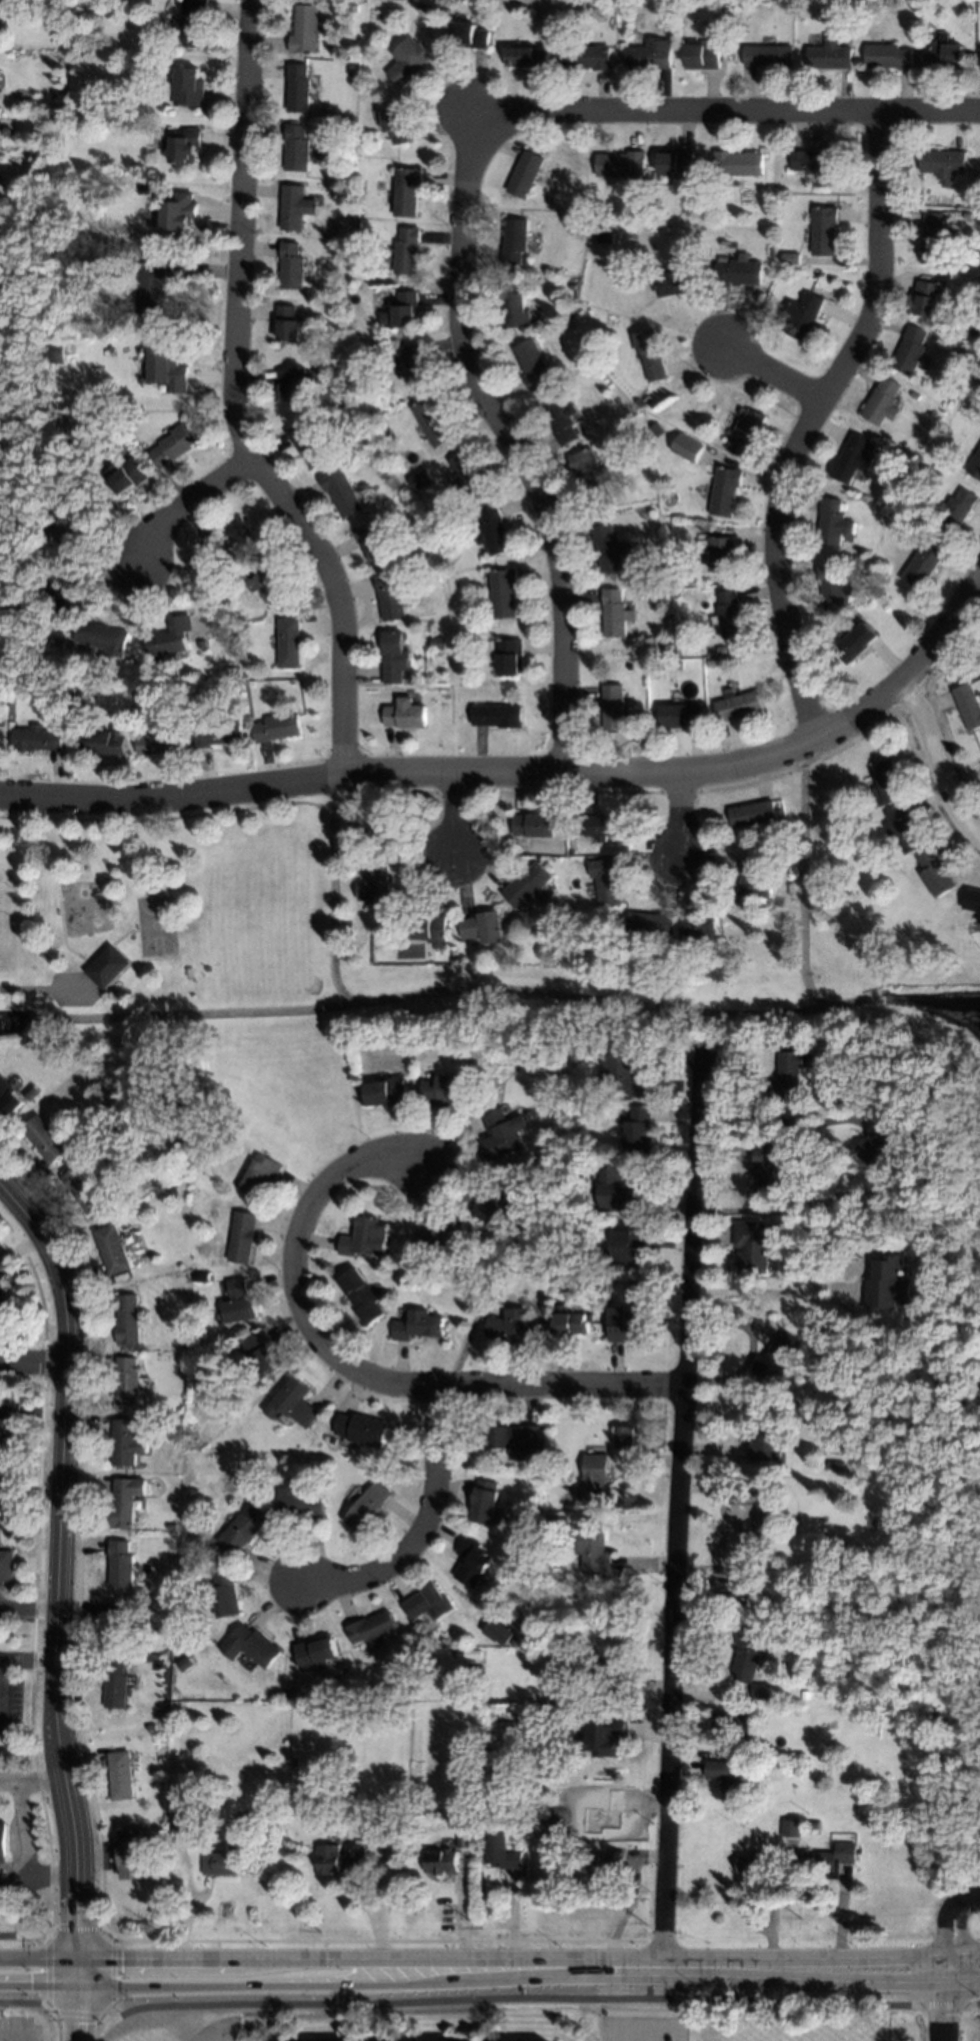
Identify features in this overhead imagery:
building: (423, 4)
building: (972, 5)
building: (354, 8)
building: (547, 13)
building: (194, 22)
building: (306, 31)
building: (471, 36)
building: (946, 53)
building: (651, 55)
building: (701, 55)
building: (829, 56)
building: (528, 57)
building: (767, 57)
building: (888, 57)
building: (586, 58)
building: (410, 59)
building: (979, 68)
building: (351, 69)
building: (190, 88)
building: (298, 89)
building: (87, 99)
road: (731, 112)
road: (474, 118)
building: (85, 123)
building: (398, 126)
building: (186, 147)
building: (297, 150)
building: (813, 162)
building: (678, 164)
building: (738, 164)
building: (943, 164)
building: (623, 168)
building: (526, 175)
building: (407, 191)
building: (549, 200)
building: (295, 208)
building: (179, 211)
building: (967, 216)
building: (356, 225)
building: (824, 232)
building: (605, 238)
building: (932, 238)
building: (515, 242)
building: (408, 252)
building: (68, 258)
building: (790, 259)
building: (292, 268)
building: (737, 272)
building: (676, 283)
building: (571, 286)
building: (152, 289)
building: (928, 299)
building: (402, 310)
building: (514, 312)
building: (802, 316)
building: (288, 324)
building: (53, 350)
building: (910, 350)
building: (650, 355)
building: (533, 366)
building: (416, 367)
building: (167, 368)
road: (772, 374)
building: (292, 385)
building: (914, 396)
road: (237, 403)
building: (882, 404)
building: (560, 419)
building: (975, 419)
building: (433, 421)
road: (809, 422)
building: (655, 429)
building: (745, 434)
building: (642, 437)
building: (308, 446)
road: (516, 446)
building: (174, 447)
building: (687, 448)
building: (853, 459)
building: (975, 465)
building: (590, 474)
building: (127, 475)
building: (418, 476)
building: (470, 478)
building: (724, 491)
building: (341, 492)
road: (186, 503)
building: (388, 505)
building: (6, 512)
building: (956, 512)
building: (833, 524)
building: (65, 528)
building: (446, 528)
building: (493, 531)
building: (227, 537)
building: (29, 539)
building: (374, 541)
building: (609, 548)
building: (719, 553)
building: (856, 557)
building: (922, 566)
building: (405, 575)
building: (266, 579)
building: (218, 585)
building: (831, 591)
building: (61, 592)
building: (503, 593)
building: (390, 597)
building: (886, 607)
building: (615, 613)
building: (728, 615)
building: (461, 635)
building: (235, 636)
building: (2, 638)
building: (102, 638)
building: (169, 640)
building: (288, 642)
building: (202, 643)
building: (437, 643)
building: (855, 643)
building: (721, 650)
building: (506, 655)
building: (394, 657)
building: (707, 660)
building: (677, 664)
building: (74, 694)
building: (968, 705)
building: (736, 706)
building: (613, 707)
building: (405, 715)
building: (496, 716)
building: (679, 716)
building: (1, 719)
building: (276, 727)
building: (217, 733)
building: (36, 739)
building: (160, 741)
building: (105, 742)
road: (936, 763)
road: (527, 774)
building: (887, 785)
road: (678, 815)
road: (452, 816)
building: (752, 816)
building: (380, 825)
building: (533, 826)
building: (605, 826)
building: (903, 831)
building: (570, 851)
building: (935, 875)
building: (606, 881)
building: (377, 884)
building: (527, 885)
building: (752, 885)
building: (971, 900)
building: (650, 924)
building: (430, 928)
building: (482, 928)
building: (700, 928)
building: (107, 965)
park: (187, 976)
building: (836, 1041)
building: (569, 1042)
building: (624, 1072)
building: (788, 1074)
building: (447, 1091)
building: (387, 1092)
building: (9, 1096)
road: (777, 1122)
building: (637, 1130)
building: (502, 1133)
building: (45, 1138)
building: (880, 1147)
building: (767, 1169)
building: (260, 1177)
building: (84, 1190)
building: (615, 1191)
building: (495, 1204)
building: (242, 1237)
building: (364, 1238)
building: (444, 1238)
building: (628, 1245)
building: (751, 1248)
building: (112, 1250)
building: (1, 1266)
road: (293, 1280)
building: (887, 1284)
road: (772, 1290)
building: (361, 1297)
building: (238, 1303)
building: (6, 1307)
building: (128, 1321)
building: (569, 1324)
building: (622, 1324)
building: (417, 1325)
building: (508, 1325)
road: (751, 1350)
building: (261, 1352)
building: (775, 1358)
building: (195, 1362)
road: (36, 1364)
building: (128, 1381)
road: (559, 1387)
building: (293, 1404)
building: (9, 1421)
building: (361, 1429)
building: (624, 1435)
building: (765, 1437)
building: (512, 1438)
building: (555, 1440)
building: (127, 1444)
building: (833, 1464)
building: (592, 1479)
building: (126, 1502)
building: (299, 1502)
building: (483, 1504)
building: (366, 1506)
road: (677, 1511)
building: (750, 1518)
building: (170, 1527)
building: (242, 1530)
road: (424, 1530)
building: (593, 1550)
building: (471, 1562)
building: (188, 1563)
building: (7, 1565)
building: (122, 1565)
building: (740, 1578)
building: (225, 1595)
road: (63, 1598)
road: (2, 1604)
building: (427, 1604)
road: (31, 1606)
building: (520, 1620)
building: (118, 1627)
building: (370, 1629)
building: (497, 1632)
building: (567, 1639)
building: (250, 1645)
building: (747, 1651)
building: (315, 1652)
road: (19, 1658)
building: (186, 1663)
building: (610, 1675)
building: (117, 1684)
building: (380, 1689)
building: (295, 1692)
building: (759, 1692)
building: (805, 1694)
building: (730, 1724)
building: (605, 1733)
building: (750, 1748)
building: (294, 1752)
building: (756, 1773)
building: (122, 1776)
building: (729, 1780)
building: (204, 1793)
building: (813, 1823)
building: (187, 1824)
building: (790, 1827)
building: (410, 1837)
building: (463, 1837)
road: (26, 1838)
building: (4, 1843)
building: (500, 1851)
building: (132, 1855)
building: (337, 1858)
building: (828, 1858)
building: (225, 1859)
building: (439, 1862)
building: (758, 1863)
building: (604, 1864)
road: (12, 1890)
power tower: (976, 1914)
power tower: (800, 1920)
power tower: (645, 1924)
power tower: (159, 1930)
power tower: (479, 1930)
road: (955, 1931)
power tower: (318, 1932)
road: (46, 1943)
road: (477, 1968)
traffic signals: (77, 1969)
road: (967, 1971)
road: (967, 1972)
road: (489, 1999)
road: (952, 2006)

